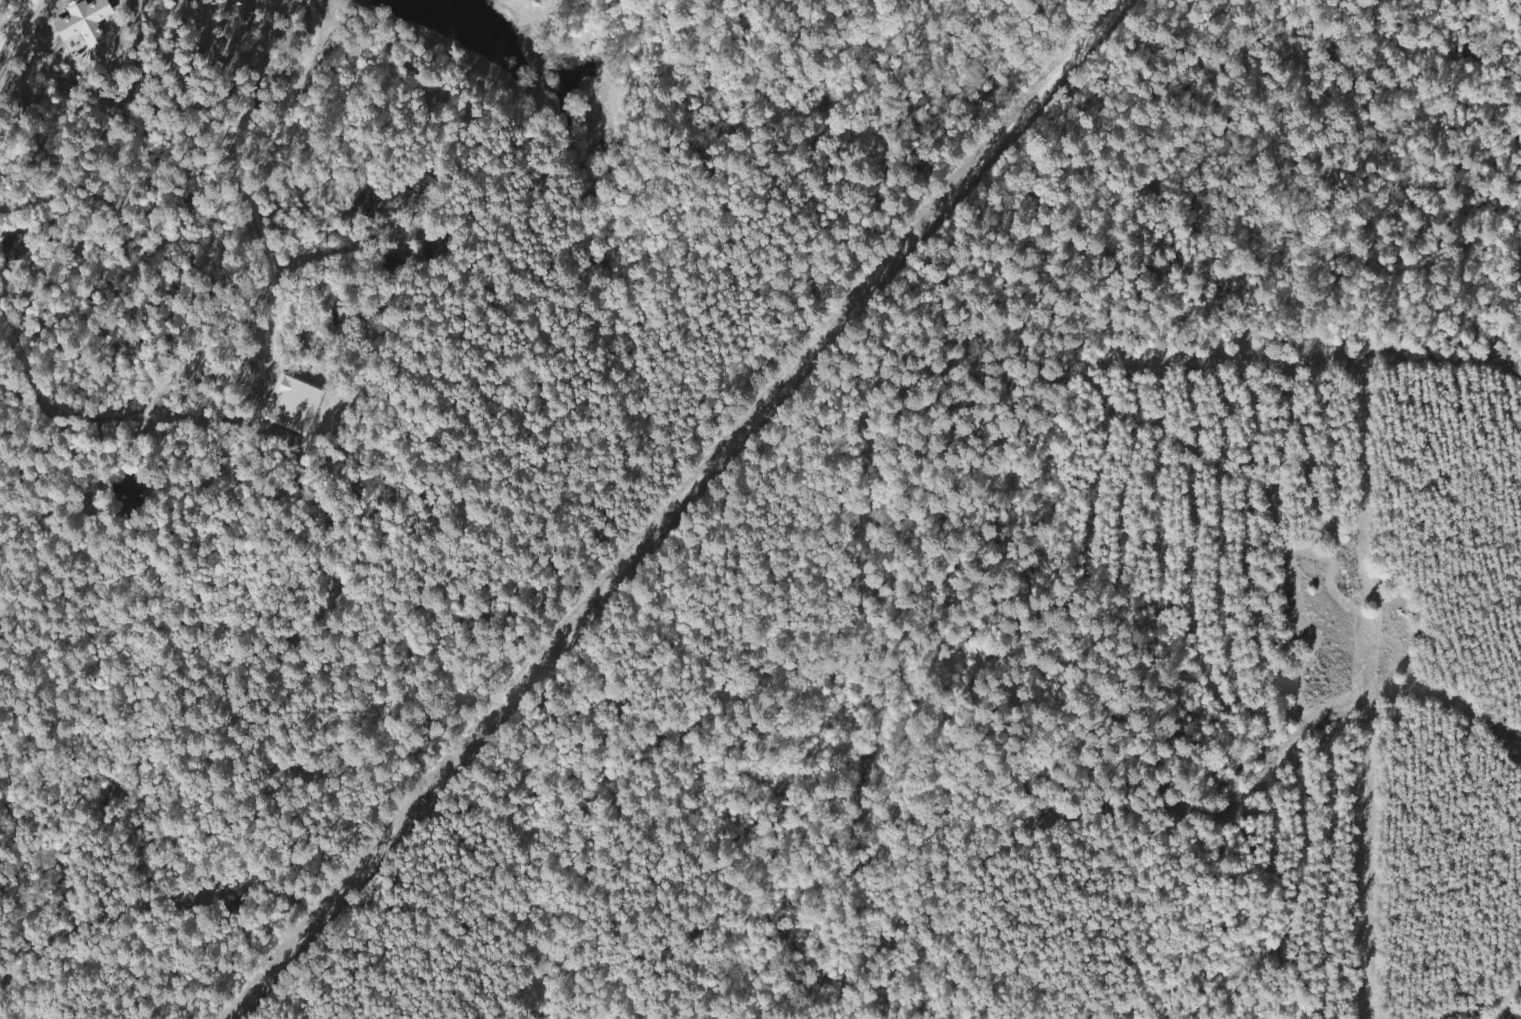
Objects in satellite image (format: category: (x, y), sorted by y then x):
road: (14, 20)
building: (241, 113)
road: (40, 206)
road: (214, 208)
building: (9, 248)
building: (434, 248)
building: (119, 493)

